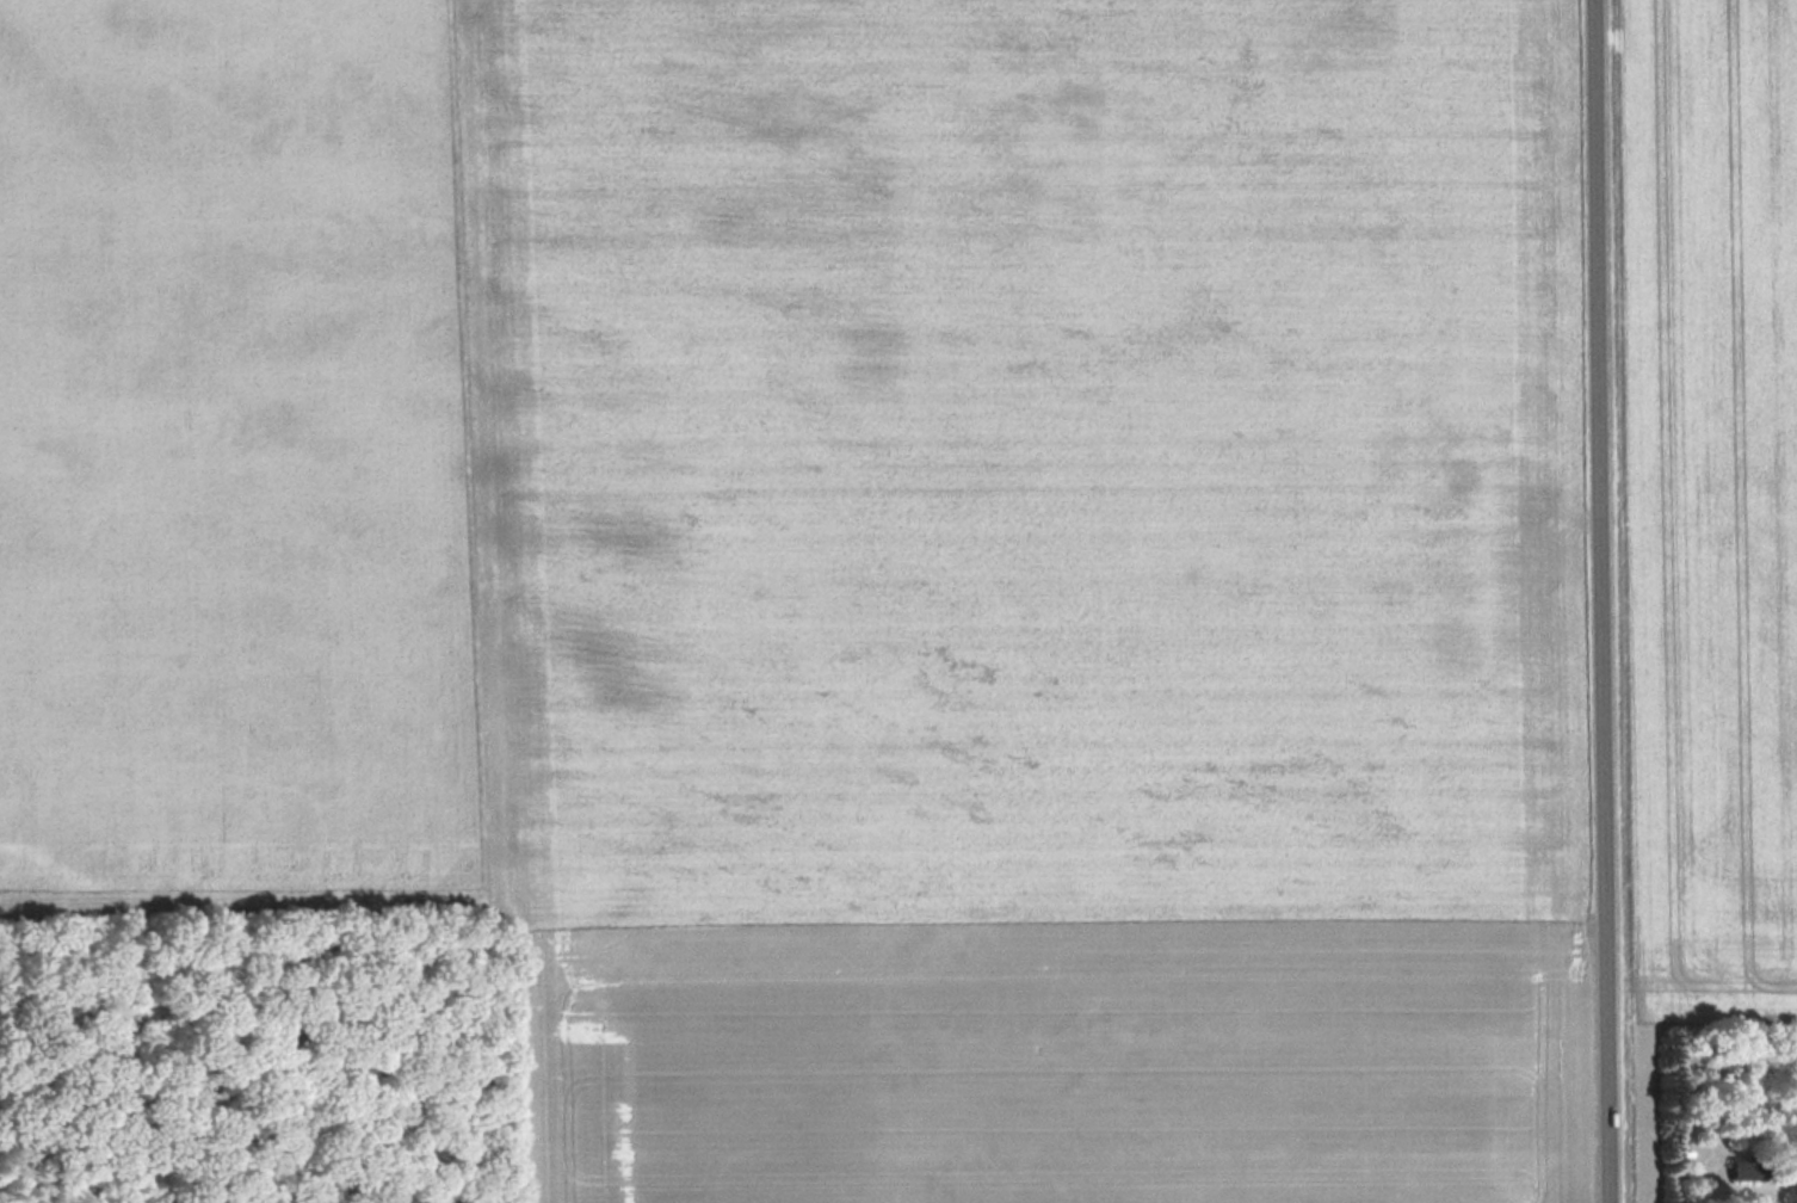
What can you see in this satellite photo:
road: (1604, 601)
building: (1747, 1168)

